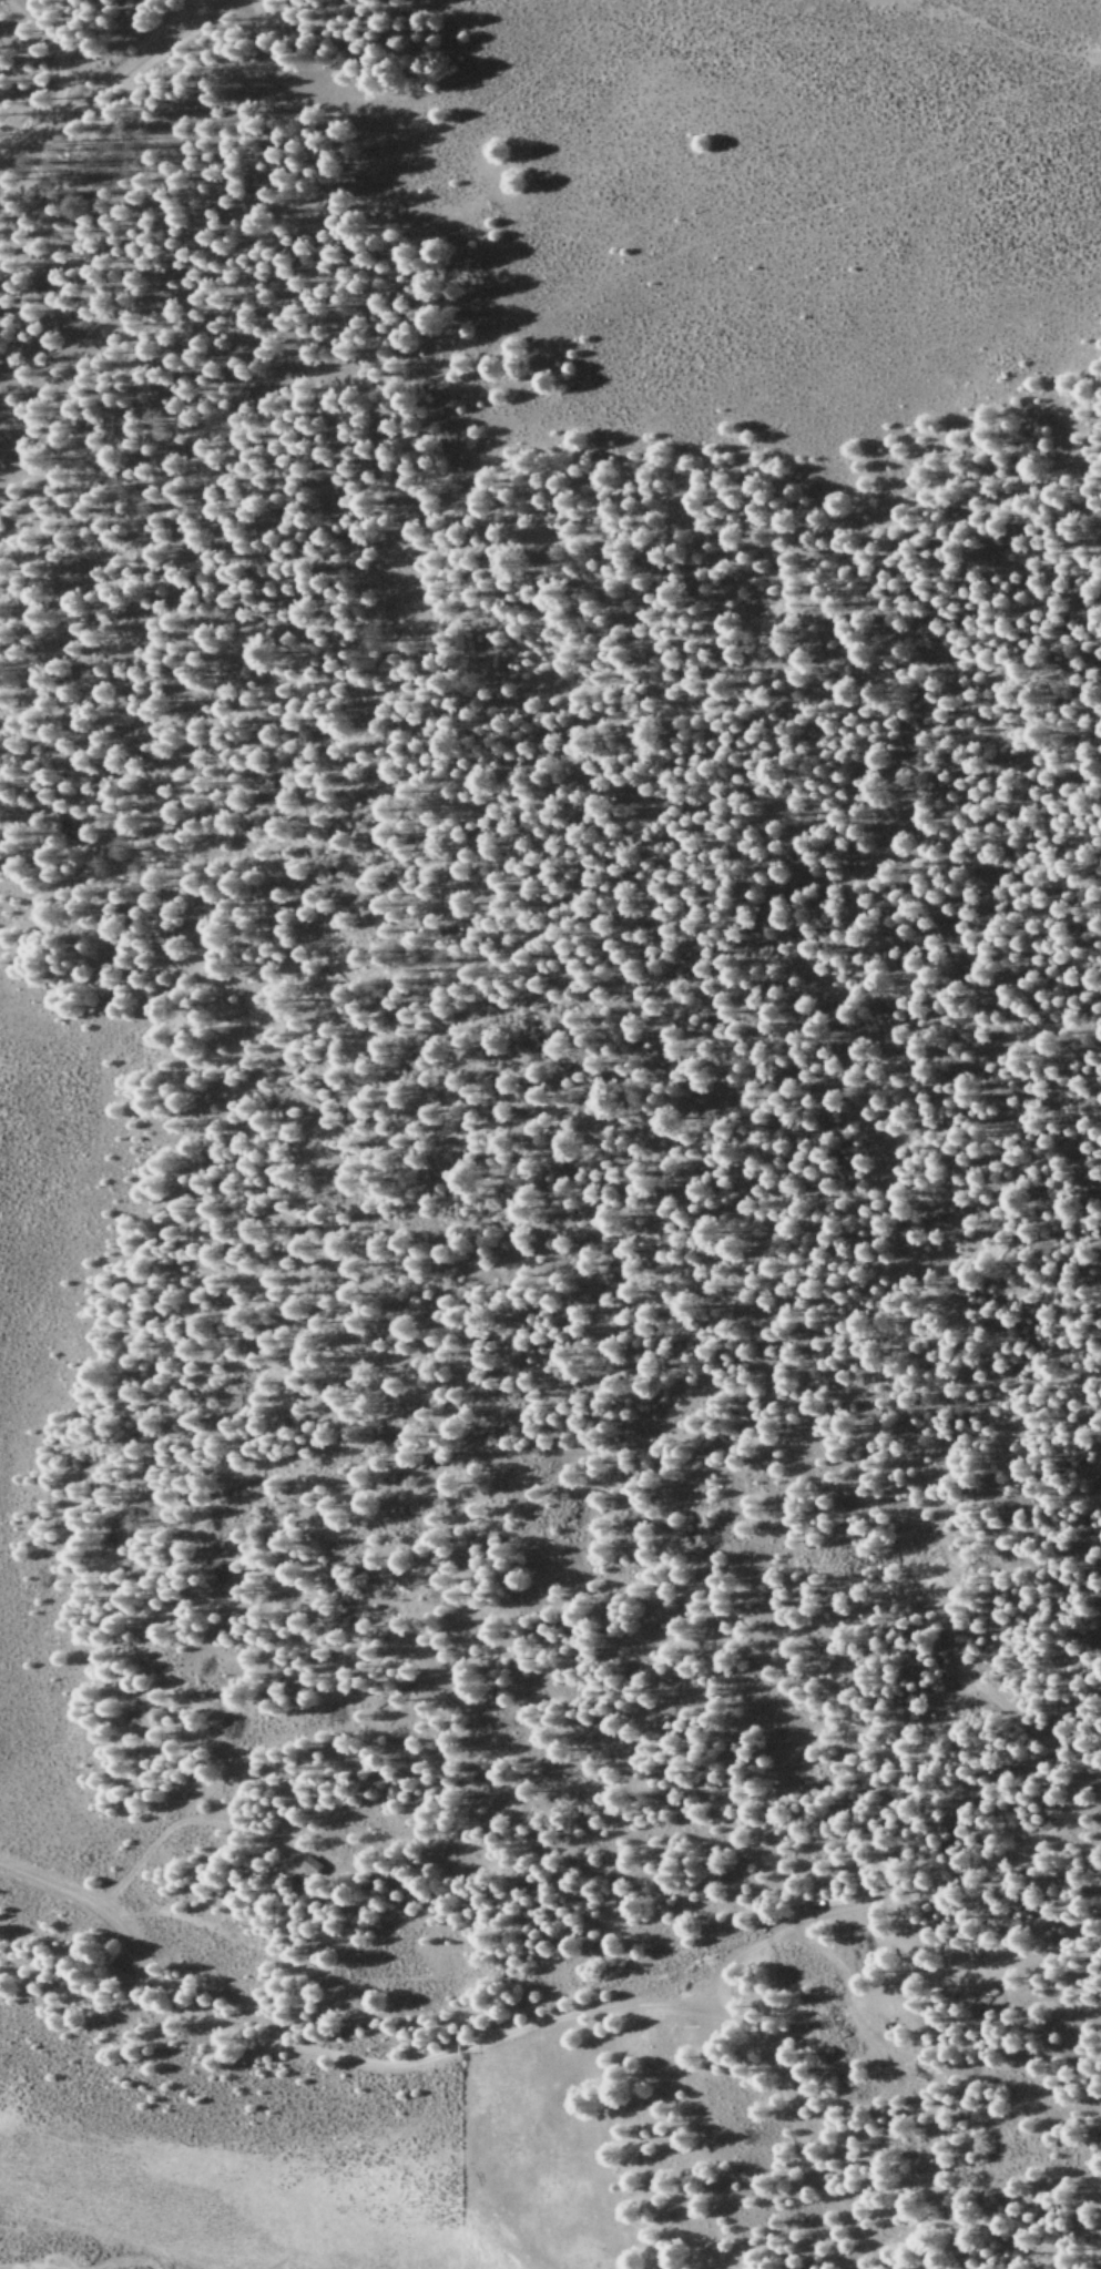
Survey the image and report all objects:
road: (1059, 9)
road: (89, 83)
building: (313, 1866)
road: (77, 2230)

